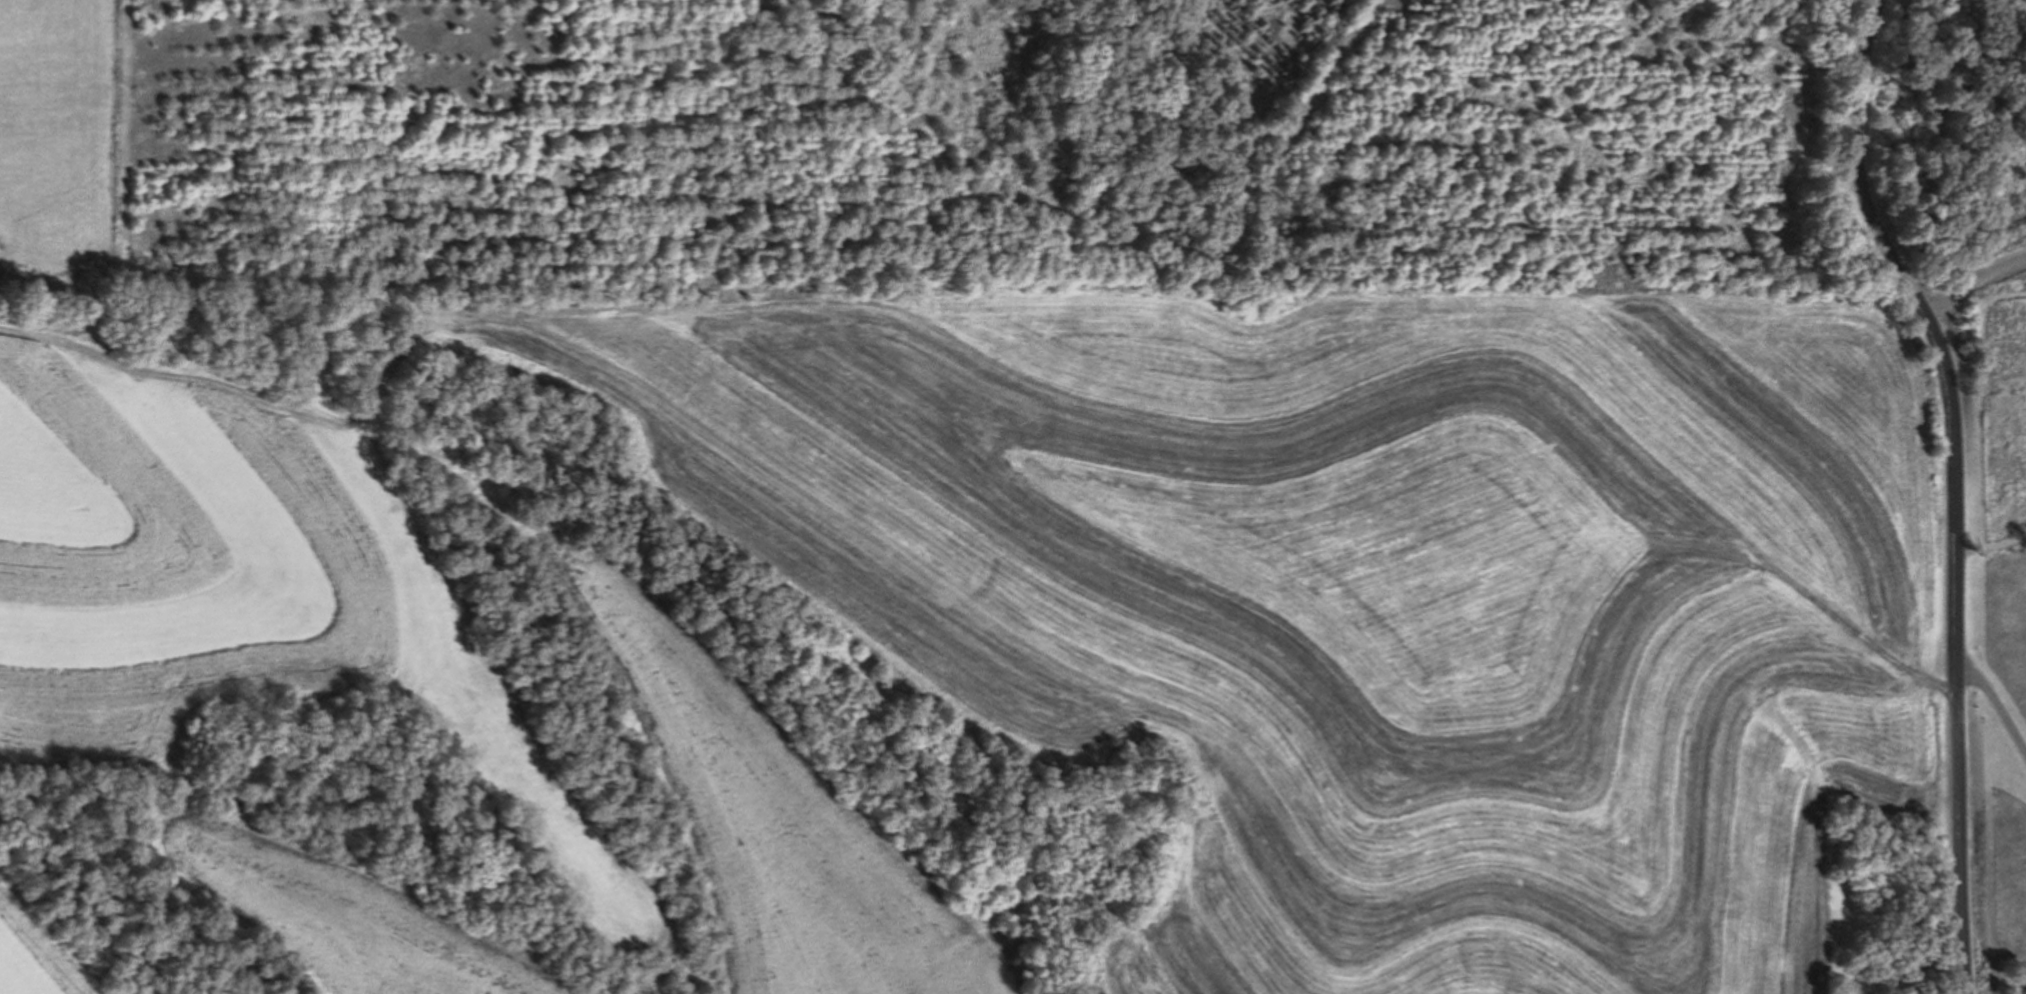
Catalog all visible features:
road: (1954, 485)
road: (1991, 706)

